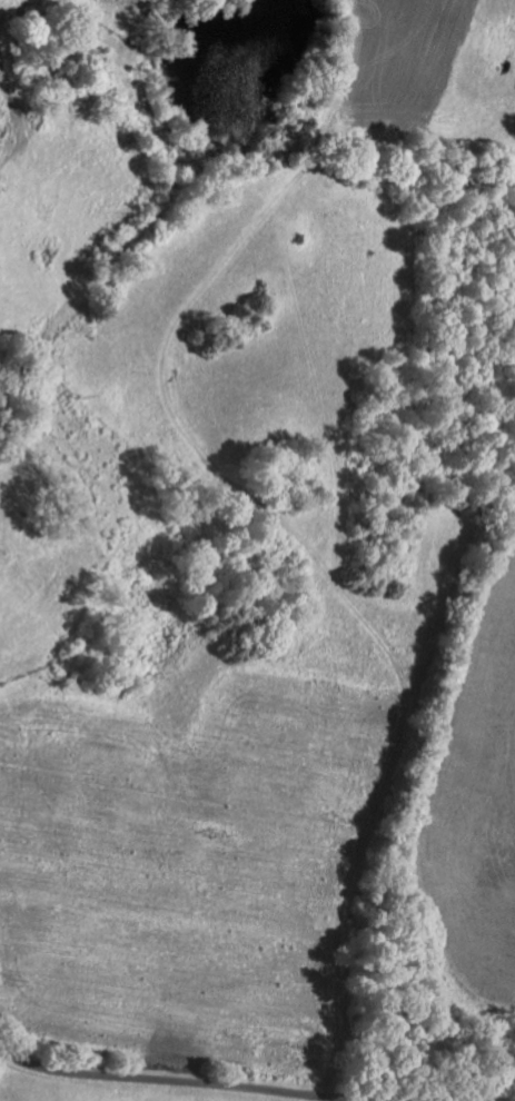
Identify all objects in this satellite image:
road: (228, 1081)

